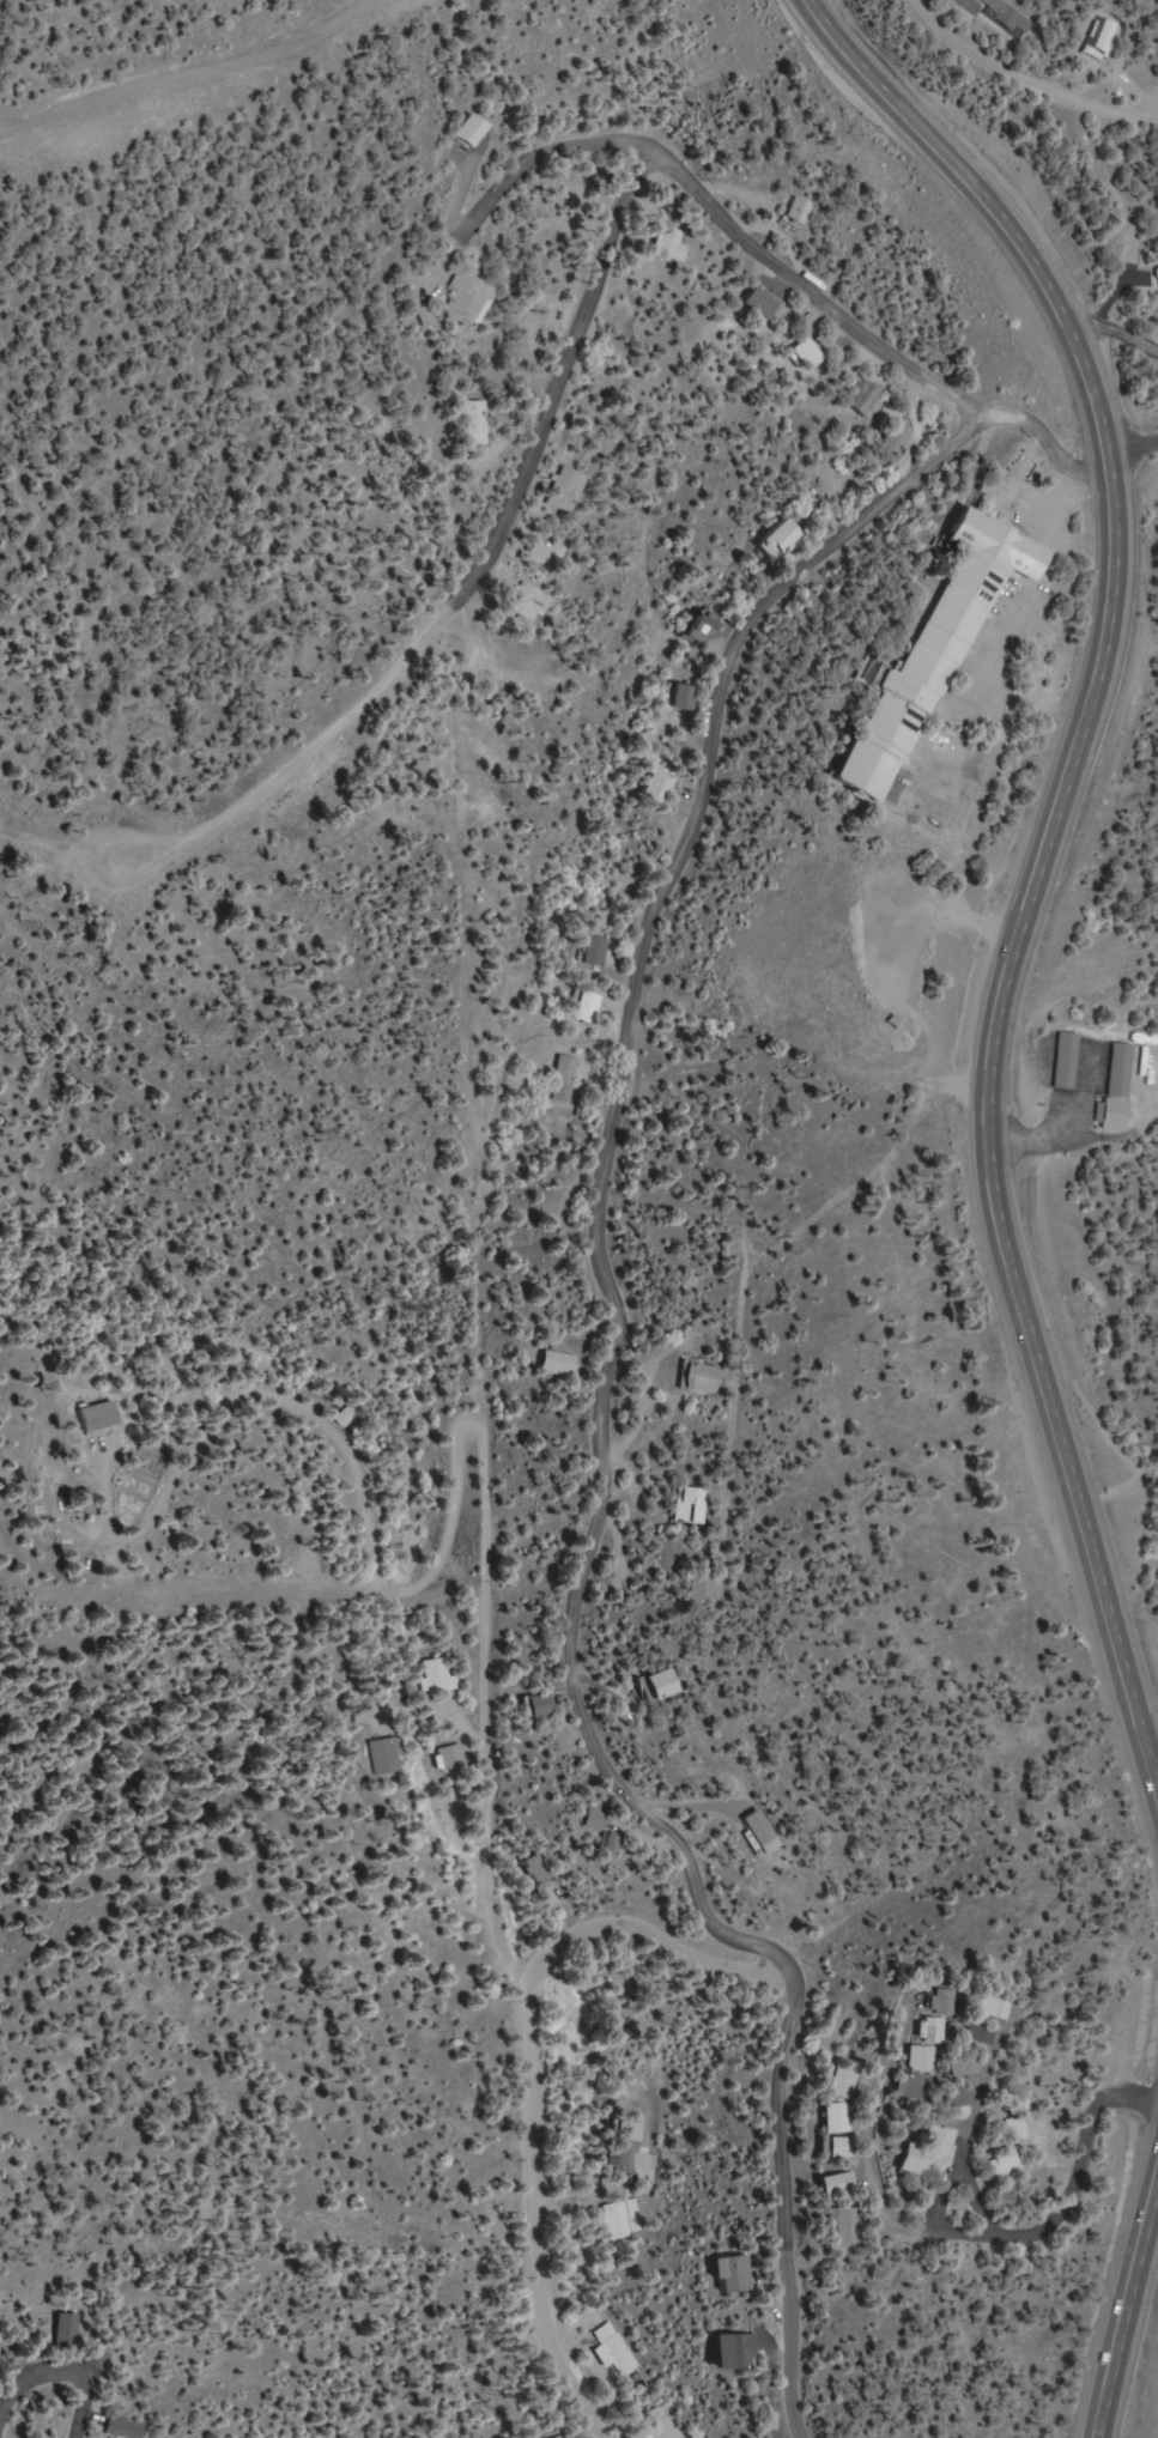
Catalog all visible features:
building: (1104, 35)
road: (1002, 66)
building: (474, 132)
building: (799, 211)
building: (678, 247)
road: (750, 275)
building: (469, 301)
building: (763, 304)
building: (428, 317)
building: (810, 356)
road: (531, 396)
building: (866, 399)
building: (474, 424)
building: (898, 437)
road: (1135, 466)
building: (565, 498)
building: (784, 538)
building: (547, 554)
building: (529, 605)
building: (704, 630)
building: (934, 655)
building: (684, 699)
building: (659, 787)
road: (1029, 865)
building: (595, 952)
building: (587, 1007)
building: (1066, 1061)
building: (563, 1079)
building: (1117, 1086)
road: (680, 1123)
building: (558, 1364)
building: (699, 1377)
building: (97, 1417)
building: (696, 1505)
building: (702, 1590)
building: (437, 1675)
building: (660, 1686)
building: (541, 1706)
road: (1150, 1745)
building: (386, 1757)
building: (451, 1757)
building: (762, 1827)
building: (610, 1846)
building: (535, 1872)
building: (940, 2002)
building: (990, 2009)
building: (929, 2030)
building: (977, 2034)
building: (918, 2058)
building: (959, 2067)
building: (842, 2085)
building: (907, 2087)
building: (952, 2098)
building: (837, 2121)
road: (532, 2146)
road: (830, 2146)
building: (842, 2147)
road: (1018, 2147)
building: (930, 2149)
building: (629, 2151)
building: (1000, 2165)
building: (837, 2185)
building: (616, 2221)
building: (847, 2227)
road: (970, 2246)
building: (734, 2276)
road: (1121, 2284)
building: (65, 2331)
building: (616, 2353)
building: (739, 2353)
building: (96, 2359)
building: (1, 2365)
road: (57, 2376)
building: (121, 2428)

